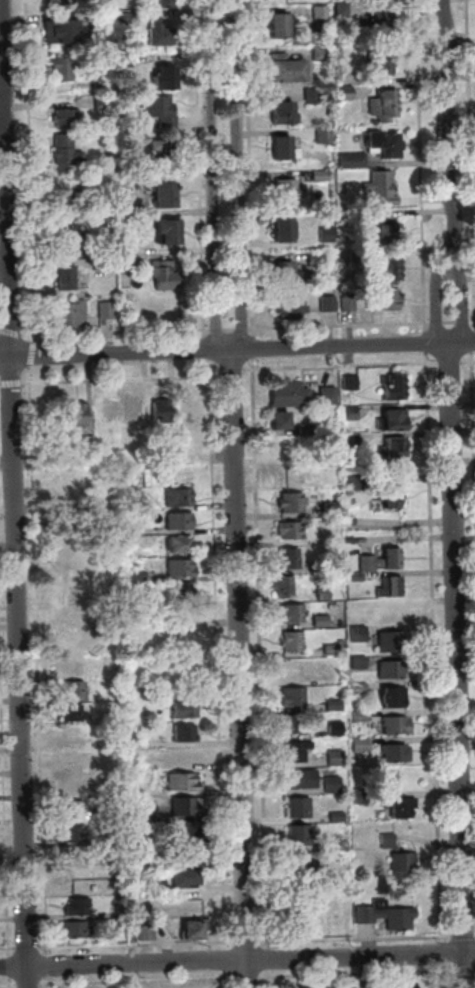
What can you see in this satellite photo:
building: (64, 2)
building: (165, 3)
building: (343, 11)
road: (222, 13)
building: (322, 14)
building: (124, 19)
building: (382, 19)
building: (280, 27)
building: (63, 31)
building: (162, 35)
building: (322, 55)
road: (1, 57)
building: (382, 64)
building: (63, 70)
building: (288, 71)
building: (167, 79)
building: (102, 86)
building: (346, 93)
building: (313, 97)
building: (103, 102)
building: (384, 107)
building: (161, 111)
building: (285, 115)
building: (68, 119)
road: (445, 136)
building: (324, 137)
road: (471, 140)
building: (385, 145)
building: (283, 149)
building: (166, 152)
building: (67, 154)
building: (354, 162)
road: (421, 166)
building: (127, 168)
road: (200, 168)
road: (251, 168)
road: (32, 171)
building: (322, 177)
road: (214, 185)
road: (238, 185)
building: (383, 189)
building: (288, 192)
building: (164, 194)
building: (64, 202)
building: (128, 211)
building: (284, 231)
building: (170, 233)
building: (328, 236)
building: (390, 236)
building: (68, 239)
building: (129, 249)
building: (358, 257)
building: (317, 260)
building: (103, 265)
building: (391, 271)
building: (289, 274)
building: (166, 276)
building: (68, 278)
building: (385, 301)
building: (349, 305)
building: (329, 306)
road: (438, 306)
road: (462, 306)
building: (292, 307)
building: (107, 311)
building: (72, 314)
road: (451, 323)
road: (464, 323)
road: (473, 323)
road: (438, 324)
road: (340, 326)
road: (217, 329)
road: (230, 329)
road: (243, 329)
road: (0, 330)
road: (116, 331)
road: (12, 333)
road: (426, 344)
road: (461, 345)
road: (255, 348)
road: (474, 348)
road: (208, 349)
road: (223, 350)
road: (33, 355)
road: (450, 363)
road: (468, 363)
road: (342, 367)
road: (234, 374)
road: (474, 378)
road: (123, 380)
road: (1, 384)
road: (12, 384)
building: (352, 384)
building: (396, 389)
building: (290, 396)
building: (329, 397)
building: (106, 412)
building: (136, 413)
building: (162, 413)
building: (352, 415)
building: (80, 416)
building: (397, 422)
building: (281, 423)
building: (307, 431)
building: (353, 442)
building: (89, 444)
building: (395, 450)
building: (66, 475)
building: (136, 477)
building: (358, 485)
road: (14, 494)
building: (390, 496)
building: (180, 498)
building: (292, 505)
building: (332, 511)
building: (181, 523)
building: (70, 525)
building: (138, 529)
building: (292, 532)
building: (334, 541)
building: (183, 546)
building: (289, 560)
building: (383, 561)
building: (319, 568)
building: (183, 569)
building: (65, 570)
building: (140, 576)
building: (357, 578)
building: (284, 587)
building: (391, 589)
building: (185, 592)
building: (65, 593)
building: (324, 594)
building: (292, 615)
building: (70, 618)
building: (321, 622)
building: (182, 633)
building: (359, 635)
building: (70, 641)
building: (293, 643)
building: (392, 643)
building: (335, 649)
road: (434, 649)
road: (260, 654)
road: (219, 655)
road: (38, 660)
building: (359, 663)
road: (457, 666)
road: (241, 669)
building: (392, 671)
building: (360, 689)
building: (76, 690)
building: (159, 697)
building: (294, 698)
building: (394, 699)
building: (335, 706)
building: (187, 711)
building: (74, 714)
building: (360, 717)
building: (106, 718)
building: (288, 726)
building: (397, 727)
building: (336, 730)
building: (187, 733)
building: (75, 737)
building: (116, 742)
building: (359, 744)
building: (395, 750)
building: (297, 753)
building: (182, 755)
building: (336, 759)
road: (5, 771)
building: (301, 780)
building: (185, 783)
building: (333, 786)
building: (188, 807)
building: (402, 808)
building: (299, 809)
building: (75, 810)
building: (149, 815)
building: (338, 818)
building: (187, 831)
building: (76, 834)
building: (300, 836)
building: (188, 855)
building: (399, 857)
building: (149, 862)
building: (303, 865)
building: (188, 880)
building: (76, 881)
building: (81, 907)
building: (120, 914)
building: (386, 917)
building: (77, 931)
building: (195, 933)
building: (148, 934)
building: (121, 937)
road: (464, 937)
road: (356, 939)
road: (247, 943)
road: (137, 944)
road: (8, 949)
road: (28, 949)
road: (442, 954)
road: (226, 960)
road: (269, 960)
road: (237, 961)
road: (47, 966)
road: (10, 967)
road: (465, 972)
road: (356, 974)
road: (443, 977)
road: (226, 979)
road: (248, 979)
road: (269, 979)
road: (139, 982)
road: (10, 983)
road: (48, 983)
building: (366, 984)
road: (29, 985)
building: (402, 985)
road: (8, 986)
building: (299, 987)

